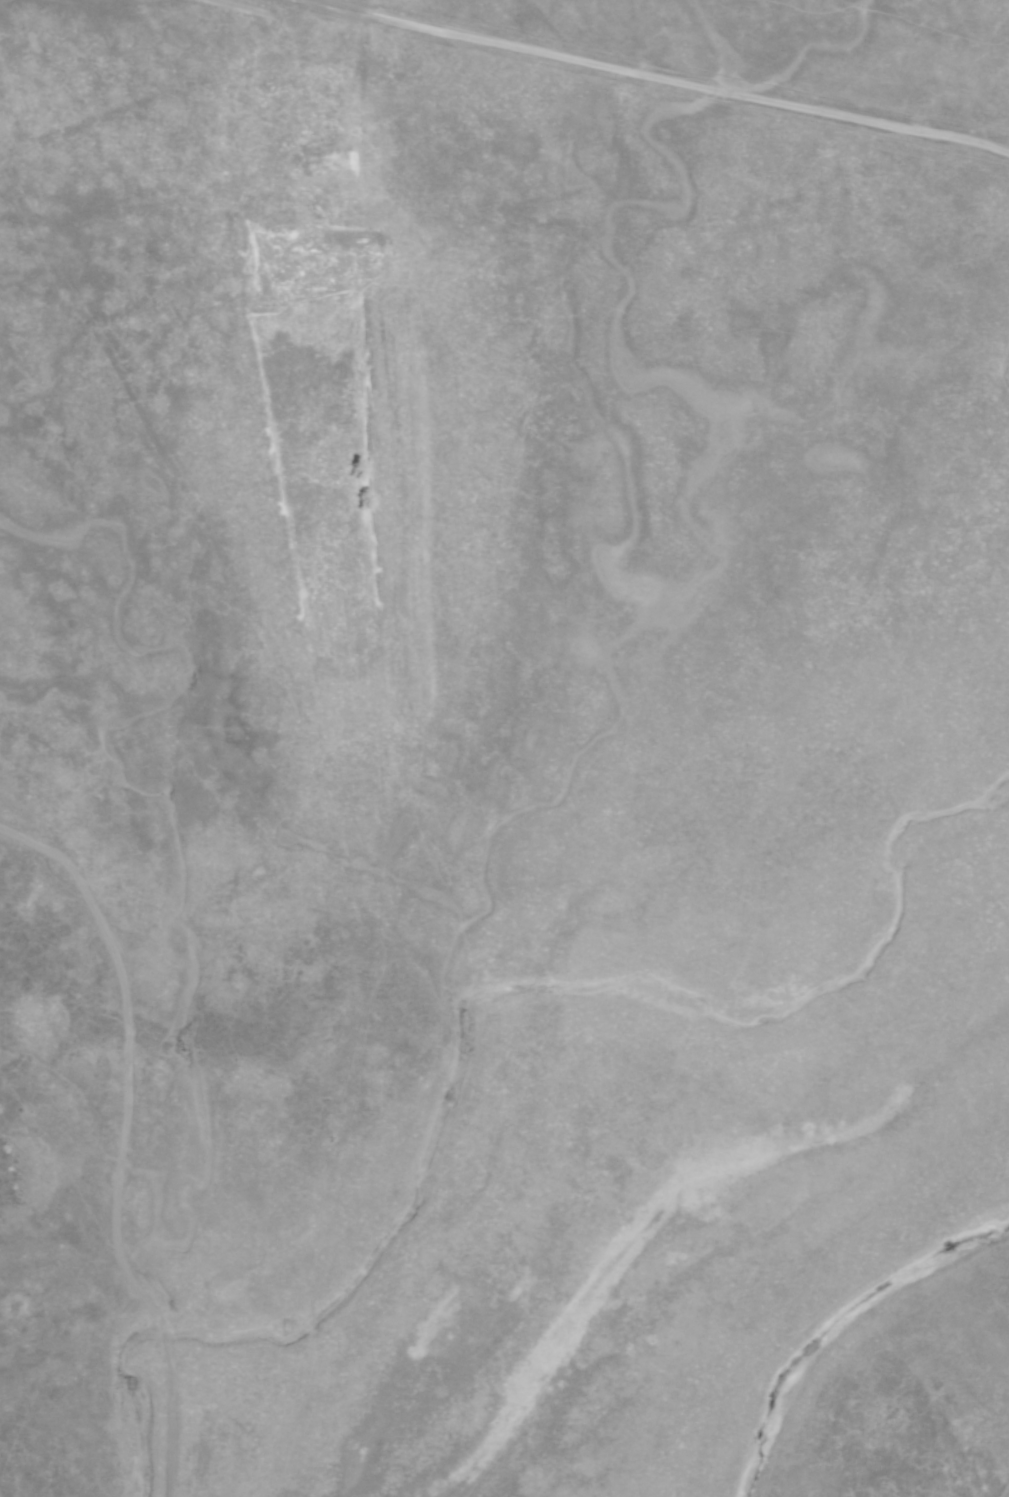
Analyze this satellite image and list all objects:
road: (645, 78)
road: (253, 302)

